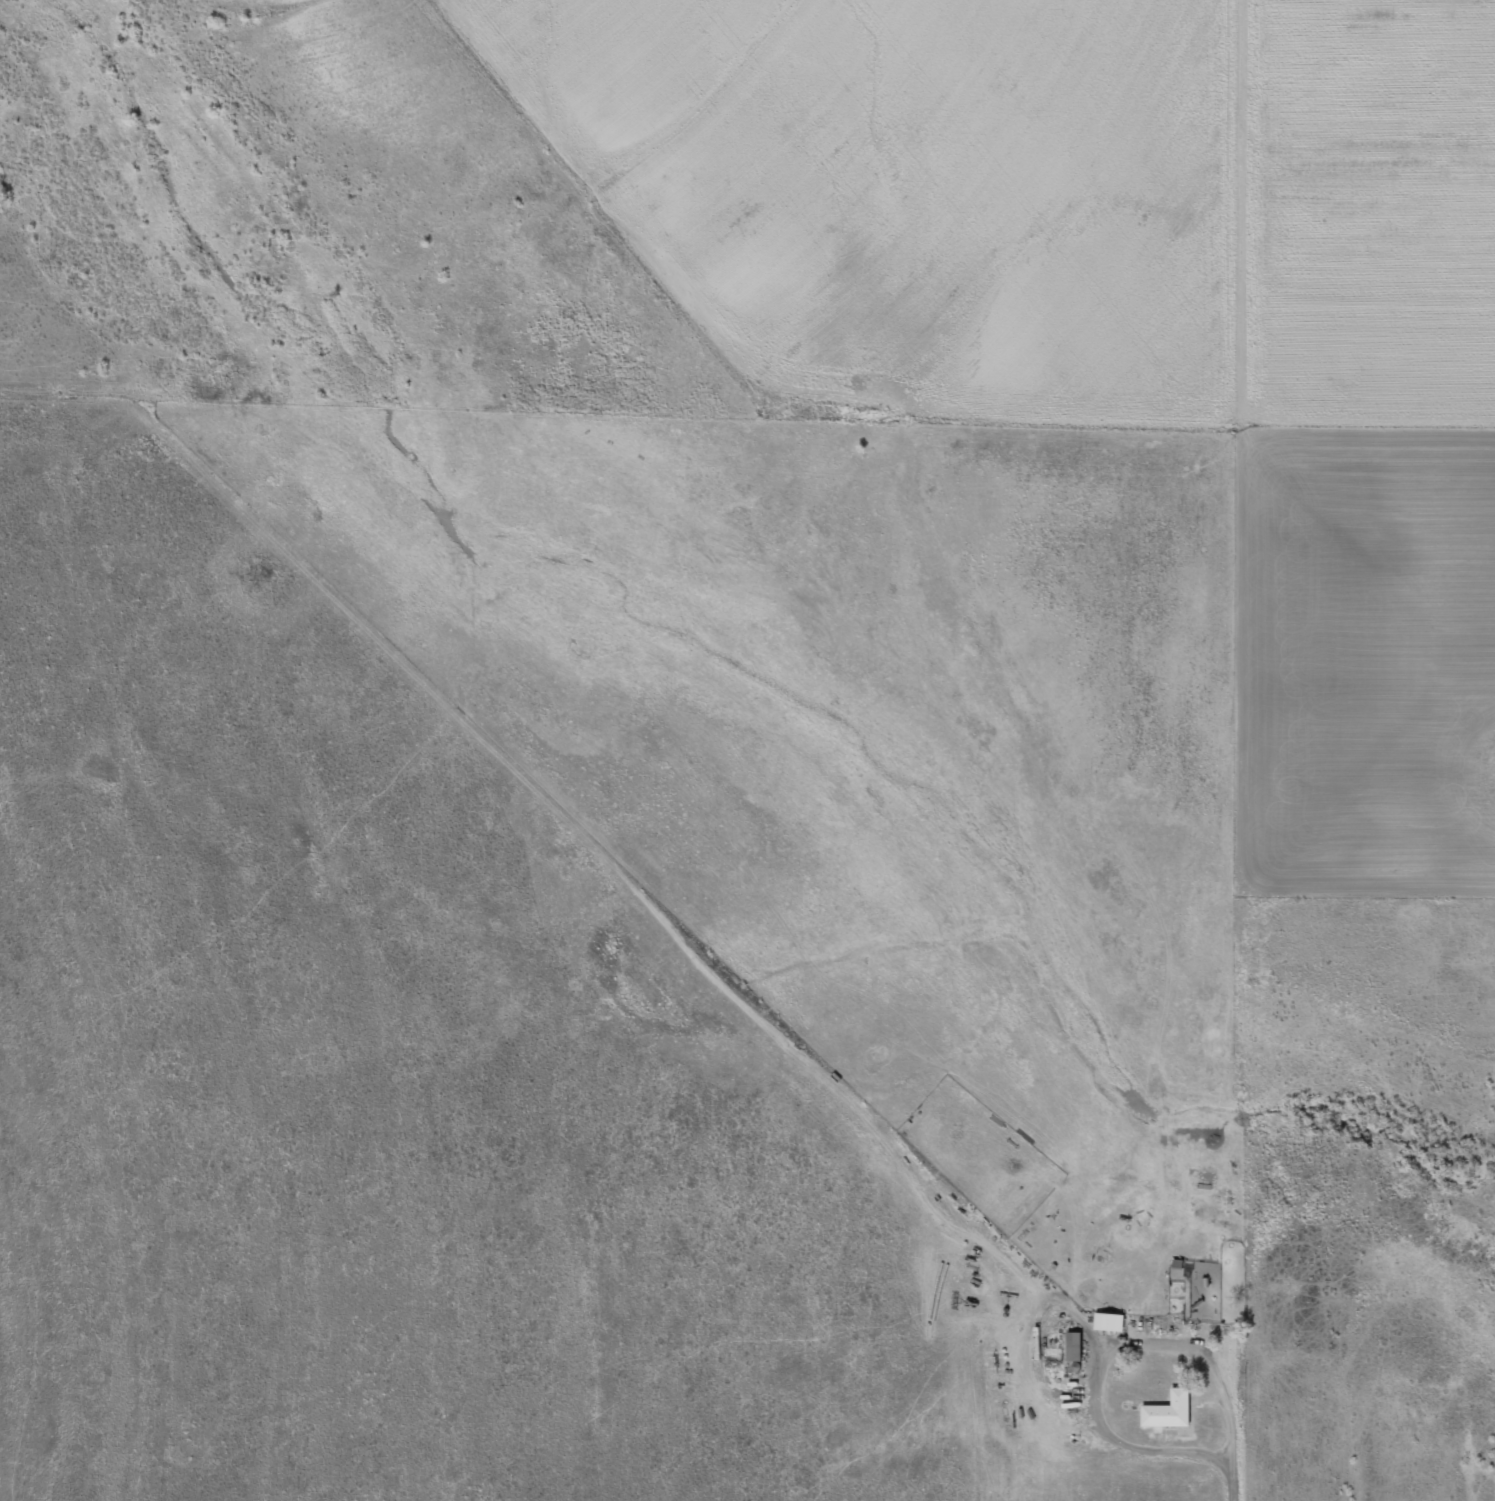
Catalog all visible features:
building: (1111, 1324)
building: (1076, 1348)
road: (1232, 1405)
building: (1172, 1413)

